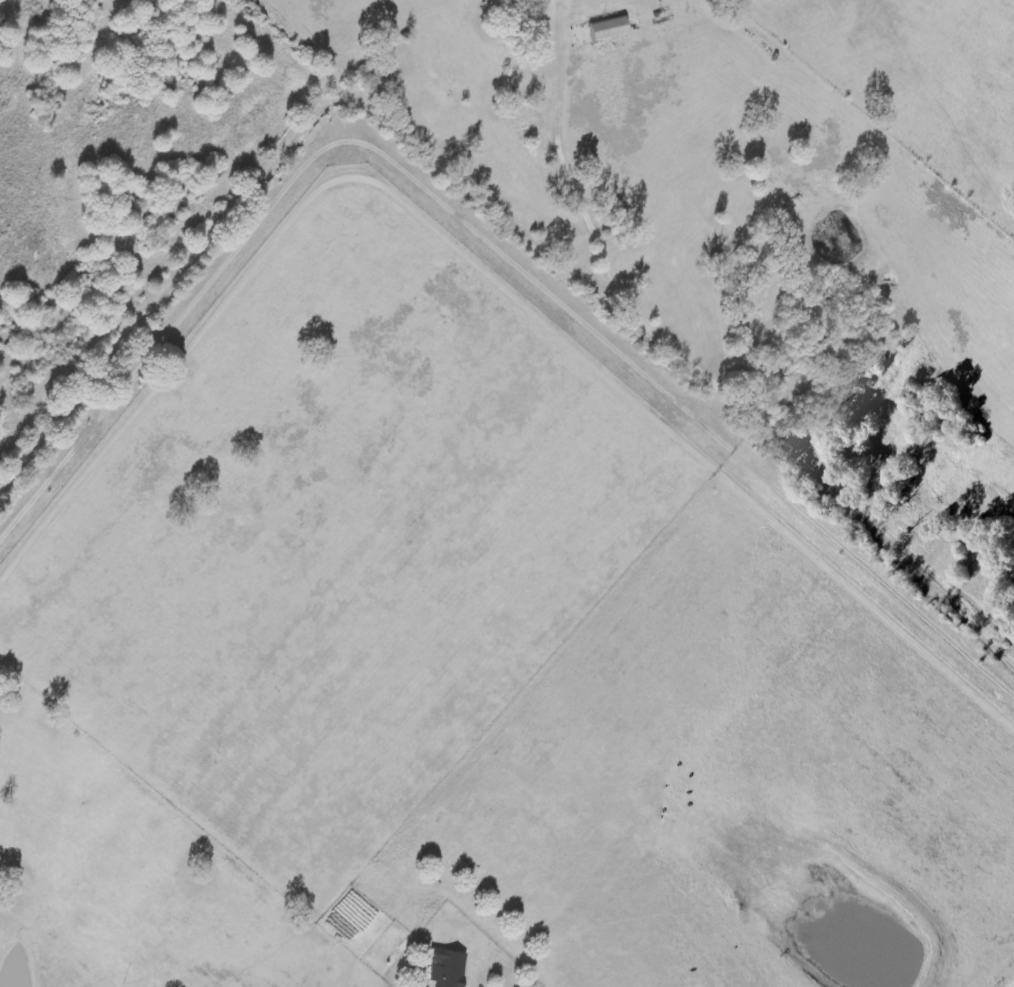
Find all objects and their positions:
building: (604, 29)
road: (482, 152)
road: (1012, 985)

